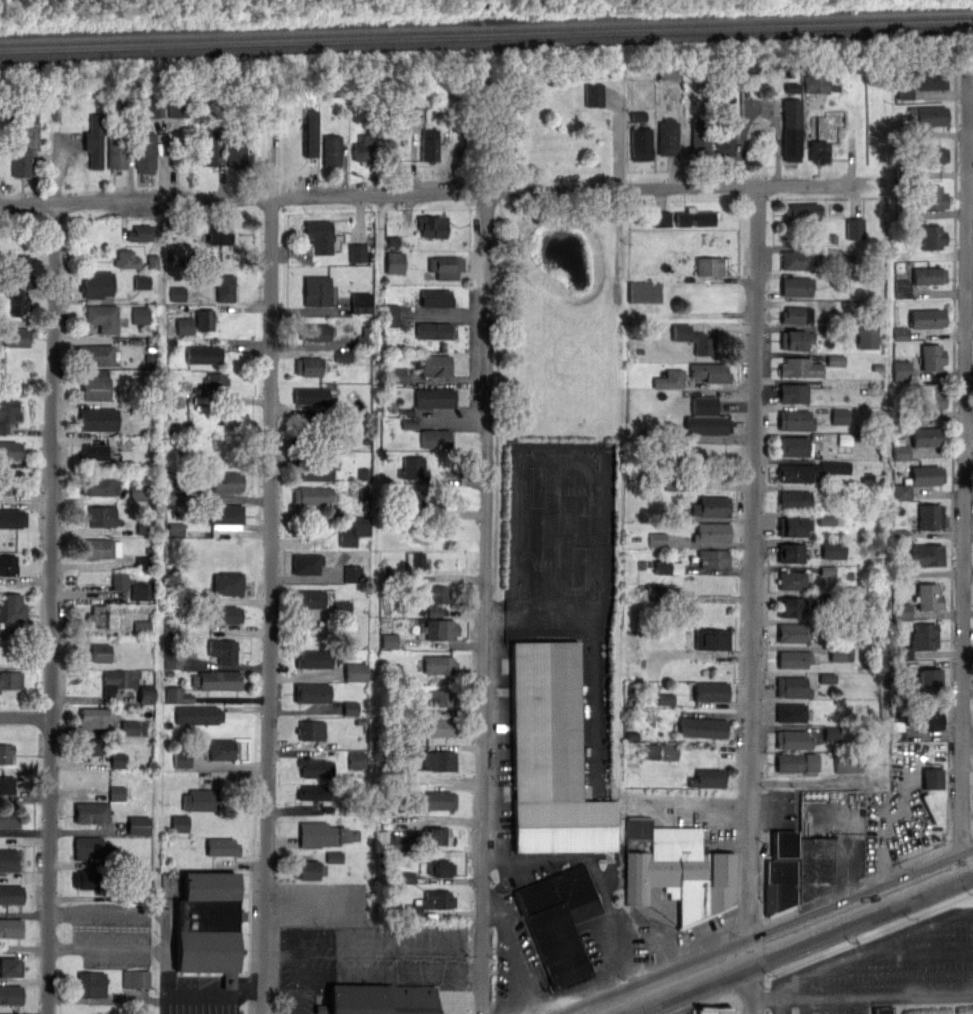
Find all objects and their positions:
railway: (486, 29)
railway: (486, 37)
building: (670, 73)
building: (932, 79)
building: (817, 84)
building: (906, 89)
building: (595, 93)
building: (420, 100)
building: (178, 107)
building: (155, 108)
building: (638, 115)
building: (928, 115)
building: (29, 117)
building: (791, 129)
building: (309, 132)
building: (667, 136)
building: (700, 136)
building: (723, 137)
building: (94, 140)
building: (640, 142)
road: (618, 143)
building: (429, 145)
building: (364, 146)
building: (206, 148)
building: (235, 148)
building: (819, 149)
building: (331, 150)
building: (117, 152)
building: (145, 152)
building: (929, 154)
building: (20, 160)
road: (422, 193)
building: (933, 197)
building: (801, 212)
building: (696, 217)
building: (662, 219)
building: (432, 225)
building: (855, 228)
building: (140, 233)
building: (219, 234)
building: (319, 235)
building: (932, 236)
building: (358, 252)
building: (126, 259)
building: (796, 260)
building: (153, 261)
building: (395, 262)
building: (445, 266)
building: (708, 266)
building: (928, 275)
building: (142, 282)
building: (96, 284)
building: (795, 286)
building: (224, 287)
building: (316, 290)
building: (644, 292)
building: (178, 293)
building: (436, 298)
building: (15, 302)
building: (361, 302)
building: (796, 314)
building: (140, 315)
building: (391, 315)
building: (102, 317)
building: (926, 318)
building: (204, 319)
building: (185, 326)
building: (432, 330)
building: (313, 332)
building: (901, 334)
building: (16, 337)
building: (365, 337)
building: (867, 337)
building: (692, 338)
building: (796, 339)
building: (95, 354)
building: (203, 354)
building: (343, 356)
building: (931, 357)
building: (836, 360)
building: (307, 366)
building: (437, 366)
building: (800, 366)
building: (902, 370)
building: (710, 372)
building: (398, 375)
building: (670, 379)
building: (213, 380)
building: (96, 385)
building: (792, 393)
building: (310, 395)
building: (931, 396)
building: (435, 398)
building: (8, 413)
building: (840, 416)
building: (97, 418)
building: (794, 419)
building: (409, 424)
building: (707, 424)
building: (312, 426)
building: (926, 436)
building: (435, 437)
building: (845, 439)
building: (793, 446)
building: (10, 450)
building: (93, 452)
building: (901, 452)
building: (687, 455)
road: (965, 464)
building: (315, 467)
building: (412, 467)
building: (810, 470)
building: (917, 480)
building: (4, 482)
building: (226, 482)
building: (100, 486)
building: (137, 491)
building: (311, 495)
building: (175, 498)
building: (431, 498)
building: (794, 500)
building: (711, 506)
building: (100, 516)
building: (225, 516)
building: (930, 516)
building: (12, 517)
building: (826, 520)
building: (792, 527)
building: (176, 529)
building: (353, 531)
building: (711, 532)
building: (658, 539)
building: (99, 548)
building: (834, 549)
building: (790, 552)
building: (927, 555)
building: (712, 558)
building: (415, 560)
building: (306, 563)
building: (8, 565)
building: (669, 567)
building: (353, 573)
road: (52, 574)
road: (268, 575)
building: (792, 580)
building: (121, 581)
building: (227, 583)
building: (142, 591)
building: (655, 591)
building: (927, 596)
building: (434, 597)
building: (308, 598)
road: (754, 598)
road: (486, 603)
building: (791, 606)
building: (11, 607)
building: (343, 608)
building: (902, 612)
building: (225, 613)
building: (97, 616)
building: (142, 627)
building: (440, 628)
road: (517, 632)
building: (793, 632)
building: (924, 636)
building: (711, 638)
building: (389, 640)
building: (224, 650)
building: (100, 652)
building: (841, 654)
building: (313, 658)
building: (794, 658)
building: (172, 660)
building: (438, 664)
building: (356, 672)
building: (929, 677)
building: (11, 679)
building: (118, 679)
building: (216, 679)
building: (791, 686)
building: (710, 691)
building: (311, 692)
building: (146, 694)
building: (177, 695)
building: (441, 697)
building: (665, 699)
building: (350, 708)
building: (791, 713)
building: (199, 715)
road: (25, 716)
building: (96, 717)
building: (929, 717)
building: (439, 726)
building: (701, 726)
building: (133, 728)
building: (312, 730)
building: (832, 734)
building: (793, 739)
building: (92, 746)
building: (222, 750)
building: (662, 752)
building: (7, 755)
parking lot: (579, 755)
building: (551, 757)
building: (118, 759)
building: (182, 759)
building: (357, 760)
building: (440, 761)
building: (797, 762)
building: (848, 764)
building: (316, 767)
building: (709, 778)
building: (933, 778)
building: (7, 785)
building: (313, 792)
building: (116, 793)
building: (202, 800)
building: (441, 800)
building: (931, 809)
building: (92, 813)
building: (9, 819)
road: (715, 822)
building: (180, 823)
parking lot: (778, 823)
building: (138, 825)
parking lot: (836, 827)
parking lot: (895, 831)
building: (323, 835)
building: (435, 836)
road: (851, 836)
building: (399, 842)
road: (884, 843)
building: (784, 844)
building: (91, 847)
building: (223, 847)
building: (334, 856)
building: (9, 860)
building: (813, 865)
road: (594, 866)
building: (441, 868)
building: (308, 869)
building: (682, 873)
building: (405, 877)
building: (98, 884)
road: (510, 886)
building: (778, 886)
building: (12, 894)
building: (432, 902)
road: (316, 903)
parking lot: (326, 904)
road: (122, 916)
building: (559, 921)
building: (208, 925)
building: (12, 928)
parking lot: (109, 932)
road: (446, 938)
road: (787, 940)
road: (140, 947)
road: (872, 948)
road: (521, 949)
road: (909, 956)
parking lot: (366, 960)
road: (644, 965)
building: (12, 967)
parking lot: (886, 970)
road: (661, 974)
road: (308, 977)
building: (136, 978)
parking lot: (196, 980)
building: (91, 984)
road: (319, 984)
building: (11, 994)
road: (215, 995)
road: (297, 995)
road: (862, 995)
building: (379, 999)
road: (671, 1001)
road: (319, 1003)
building: (713, 1010)
building: (881, 1011)
parking lot: (688, 1012)

